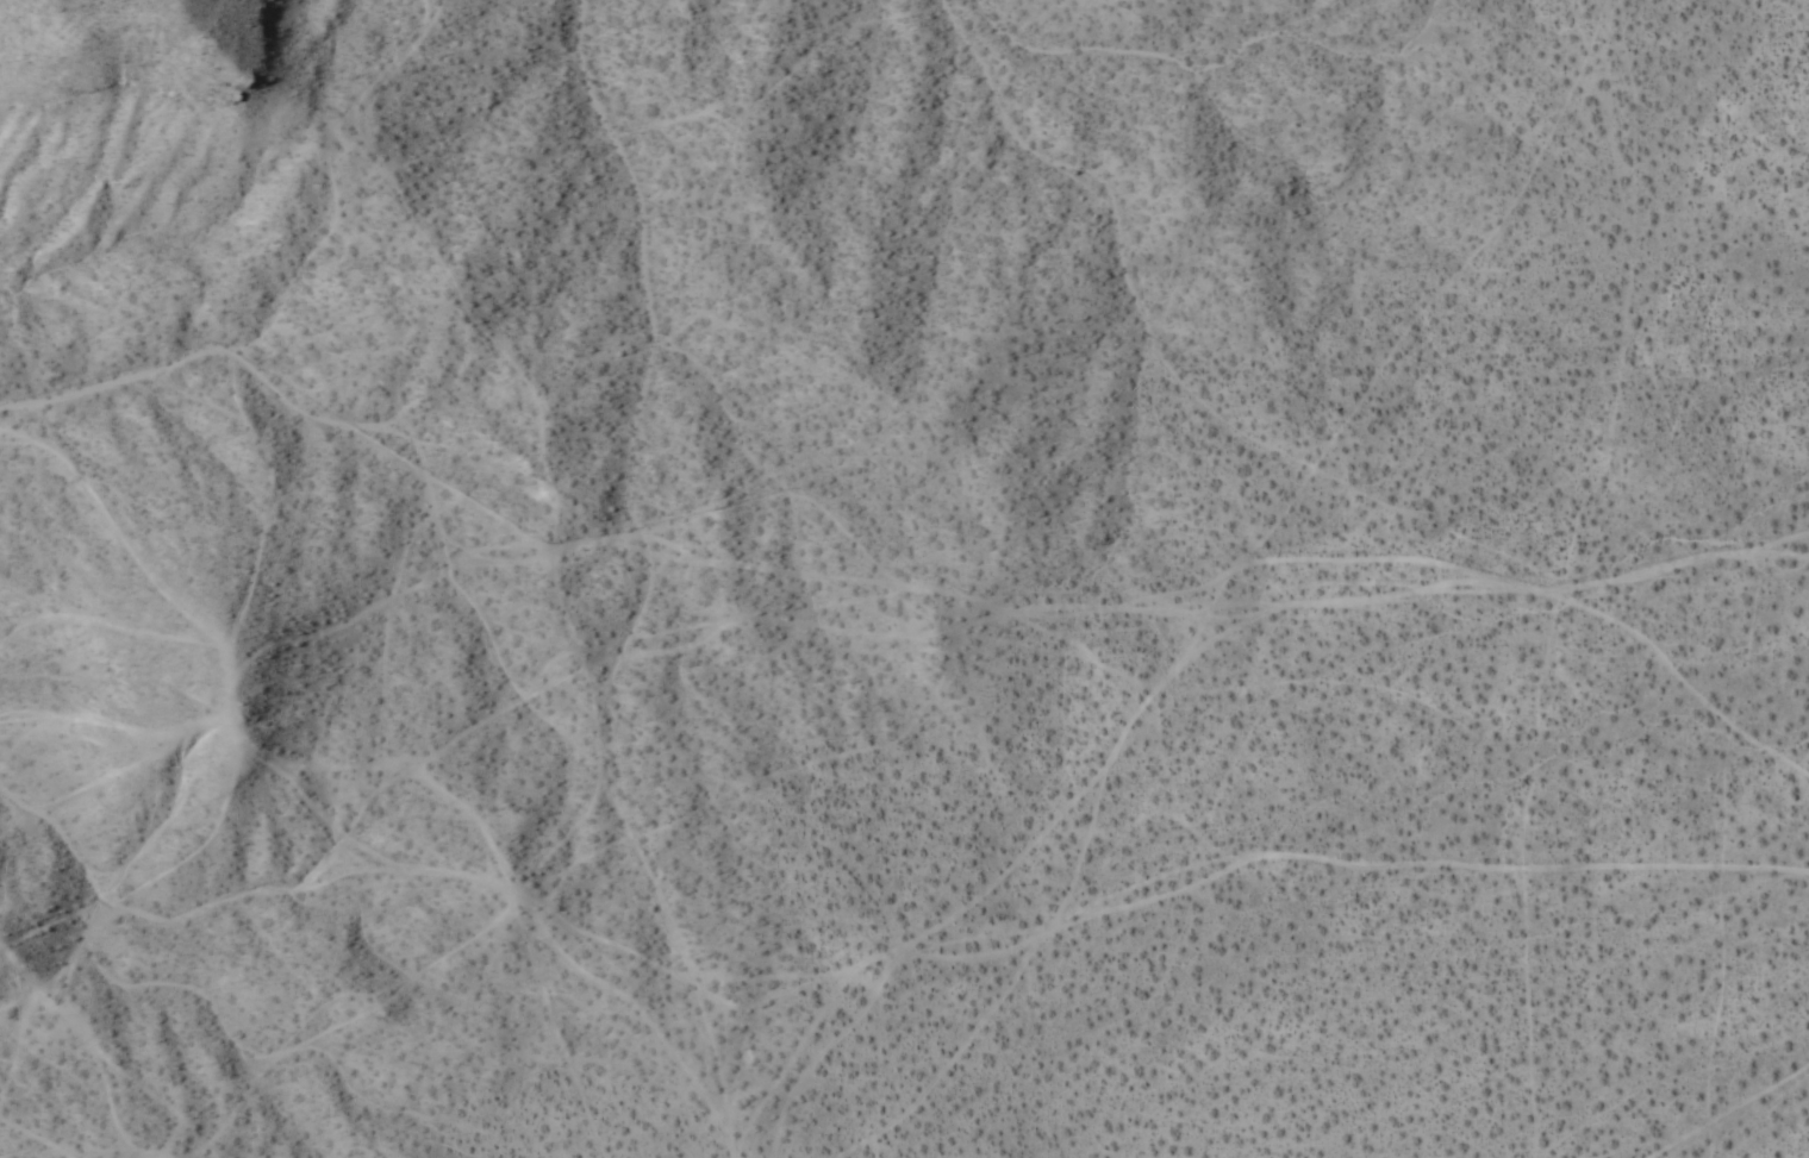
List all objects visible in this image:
crop: (905, 875)

